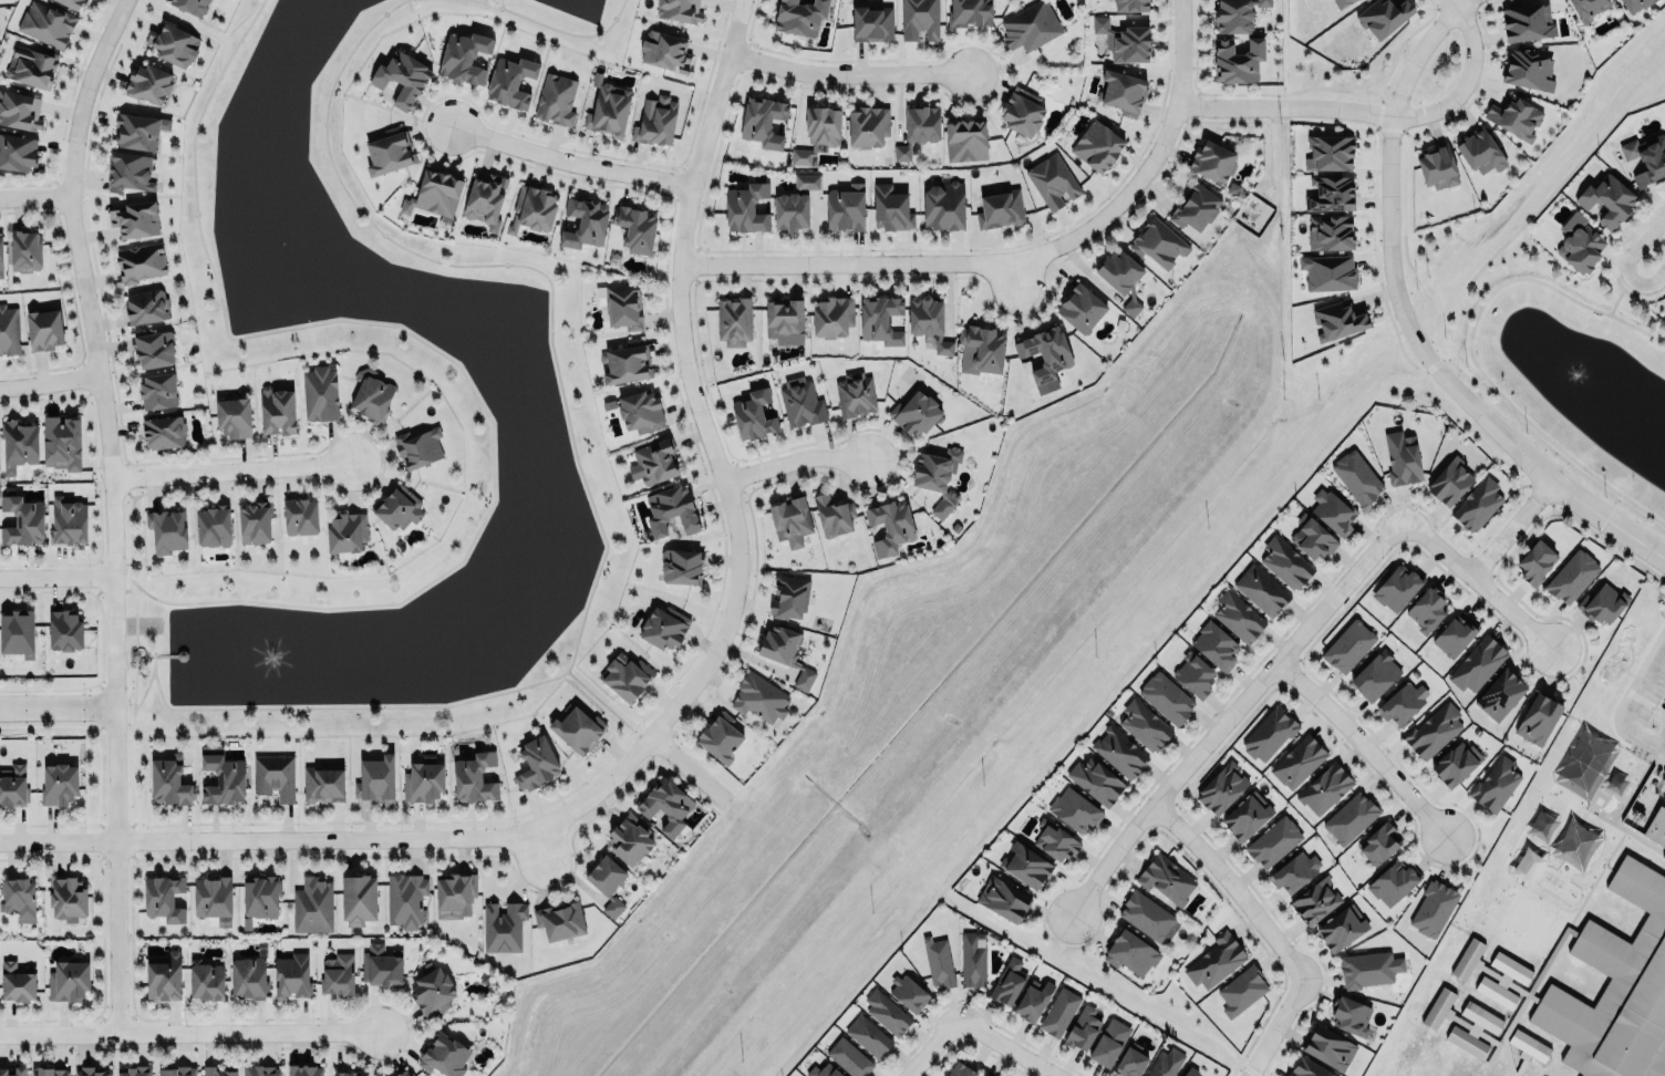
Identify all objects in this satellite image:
building: (72, 2)
building: (1342, 2)
building: (1130, 4)
building: (1634, 4)
building: (190, 6)
building: (1586, 9)
building: (679, 10)
building: (969, 12)
building: (1235, 13)
building: (799, 15)
building: (1382, 15)
building: (919, 19)
road: (241, 20)
building: (1527, 21)
building: (871, 22)
building: (45, 23)
building: (1030, 25)
road: (554, 28)
road: (361, 35)
road: (239, 38)
building: (1124, 40)
building: (172, 44)
building: (664, 50)
building: (464, 58)
building: (1238, 58)
building: (31, 66)
building: (1528, 69)
road: (846, 73)
building: (402, 79)
road: (1466, 81)
building: (147, 82)
building: (510, 82)
building: (1121, 91)
building: (556, 97)
road: (1283, 106)
building: (20, 108)
building: (608, 108)
building: (1022, 111)
building: (1516, 116)
building: (654, 120)
building: (764, 121)
building: (867, 126)
building: (918, 127)
building: (138, 130)
building: (817, 131)
building: (965, 139)
building: (1096, 145)
building: (389, 149)
building: (1480, 149)
building: (1328, 151)
building: (17, 152)
road: (571, 156)
building: (1646, 156)
building: (1212, 159)
building: (1437, 164)
building: (128, 172)
building: (806, 180)
building: (1052, 180)
building: (1330, 193)
building: (435, 195)
road: (35, 196)
building: (485, 198)
building: (1607, 198)
building: (943, 204)
building: (890, 207)
building: (1195, 207)
building: (531, 208)
building: (746, 208)
building: (845, 208)
building: (1000, 208)
building: (790, 209)
building: (135, 218)
building: (583, 221)
road: (1521, 226)
building: (635, 227)
building: (1330, 232)
fountain: (281, 244)
building: (1158, 244)
building: (1580, 245)
building: (25, 249)
building: (1, 256)
road: (1613, 256)
road: (1015, 258)
road: (1627, 260)
building: (139, 262)
building: (1119, 271)
building: (1328, 271)
road: (1015, 276)
road: (1617, 296)
building: (621, 304)
building: (146, 306)
building: (1131, 307)
building: (1080, 309)
building: (832, 314)
building: (784, 318)
building: (880, 318)
building: (1337, 319)
road: (1407, 320)
building: (734, 321)
building: (929, 323)
building: (43, 328)
building: (9, 330)
building: (984, 345)
building: (153, 346)
building: (1044, 351)
road: (1470, 352)
building: (625, 361)
park: (493, 363)
fountain: (1578, 370)
park: (1572, 379)
road: (49, 382)
building: (157, 390)
building: (852, 392)
building: (319, 393)
building: (371, 394)
building: (800, 401)
building: (277, 410)
building: (640, 411)
building: (916, 412)
building: (752, 414)
building: (232, 417)
building: (163, 431)
road: (707, 441)
building: (61, 442)
building: (19, 443)
building: (417, 447)
building: (1402, 457)
building: (654, 459)
road: (793, 461)
road: (229, 469)
building: (1356, 476)
building: (937, 477)
building: (1449, 482)
building: (1477, 504)
building: (397, 506)
road: (111, 508)
building: (671, 509)
building: (1332, 509)
building: (299, 515)
building: (832, 515)
building: (789, 516)
building: (21, 519)
building: (66, 519)
building: (254, 521)
road: (1512, 521)
building: (213, 525)
building: (890, 525)
road: (131, 527)
building: (166, 529)
building: (345, 532)
building: (1312, 536)
building: (1284, 561)
building: (1535, 561)
building: (681, 566)
road: (56, 577)
building: (1572, 577)
road: (1480, 579)
building: (1396, 586)
building: (1261, 589)
road: (122, 590)
building: (788, 596)
building: (1601, 603)
building: (1427, 610)
building: (1238, 615)
building: (663, 625)
building: (63, 629)
building: (17, 632)
building: (1454, 633)
building: (1216, 645)
building: (1348, 645)
fountain: (275, 652)
building: (785, 652)
road: (144, 654)
road: (165, 655)
road: (1283, 655)
road: (134, 663)
road: (153, 663)
building: (1478, 664)
building: (625, 674)
building: (1193, 674)
building: (1374, 675)
building: (1500, 694)
building: (1166, 697)
building: (758, 699)
building: (1403, 702)
road: (608, 704)
road: (1633, 704)
road: (1, 707)
road: (59, 707)
road: (1, 708)
road: (1099, 710)
building: (1538, 716)
building: (1144, 724)
building: (577, 728)
building: (1434, 730)
building: (1268, 733)
building: (720, 736)
road: (1365, 744)
building: (1119, 752)
building: (1297, 761)
building: (536, 762)
building: (1456, 763)
road: (686, 769)
building: (221, 775)
building: (273, 775)
road: (130, 777)
building: (474, 778)
building: (375, 779)
building: (1095, 779)
building: (167, 782)
building: (423, 782)
building: (58, 783)
building: (322, 783)
building: (1495, 784)
building: (12, 785)
building: (1221, 788)
building: (1324, 788)
building: (665, 805)
building: (1074, 809)
building: (1244, 814)
building: (1349, 817)
building: (1657, 824)
road: (529, 828)
road: (252, 838)
building: (630, 838)
building: (1054, 840)
building: (1272, 840)
building: (1376, 842)
road: (1114, 853)
building: (1663, 855)
building: (1025, 865)
building: (1294, 871)
building: (1166, 878)
building: (1392, 881)
building: (608, 882)
road: (549, 886)
road: (1235, 888)
building: (454, 894)
building: (260, 896)
building: (18, 897)
building: (164, 897)
building: (213, 898)
building: (358, 898)
building: (1002, 898)
building: (66, 899)
building: (405, 899)
building: (1314, 901)
building: (312, 906)
building: (1434, 907)
building: (1146, 914)
building: (559, 920)
building: (246, 923)
building: (503, 925)
building: (1341, 927)
building: (1130, 952)
building: (972, 960)
building: (1216, 960)
building: (938, 961)
building: (1472, 961)
building: (382, 966)
building: (1510, 968)
building: (1369, 969)
building: (338, 974)
building: (291, 975)
building: (164, 976)
building: (249, 977)
building: (68, 980)
building: (205, 980)
building: (1613, 980)
building: (1007, 981)
building: (15, 982)
building: (1241, 990)
building: (432, 992)
building: (909, 992)
building: (1496, 992)
building: (1033, 1000)
building: (886, 1012)
building: (1059, 1012)
building: (1349, 1014)
building: (1481, 1016)
building: (1083, 1027)
road: (1275, 1028)
road: (190, 1032)
building: (867, 1035)
building: (1109, 1042)
building: (1466, 1042)
road: (930, 1044)
road: (1012, 1044)
building: (1529, 1045)
building: (1328, 1047)
building: (443, 1055)
building: (847, 1056)
building: (1130, 1063)
building: (1165, 1063)
building: (1307, 1068)
building: (824, 1069)
building: (50, 1070)
building: (134, 1070)
building: (177, 1070)
building: (217, 1070)
building: (261, 1070)
building: (304, 1070)
building: (961, 1070)
building: (1189, 1070)
building: (93, 1072)
building: (347, 1073)
building: (402, 1073)
building: (983, 1075)

